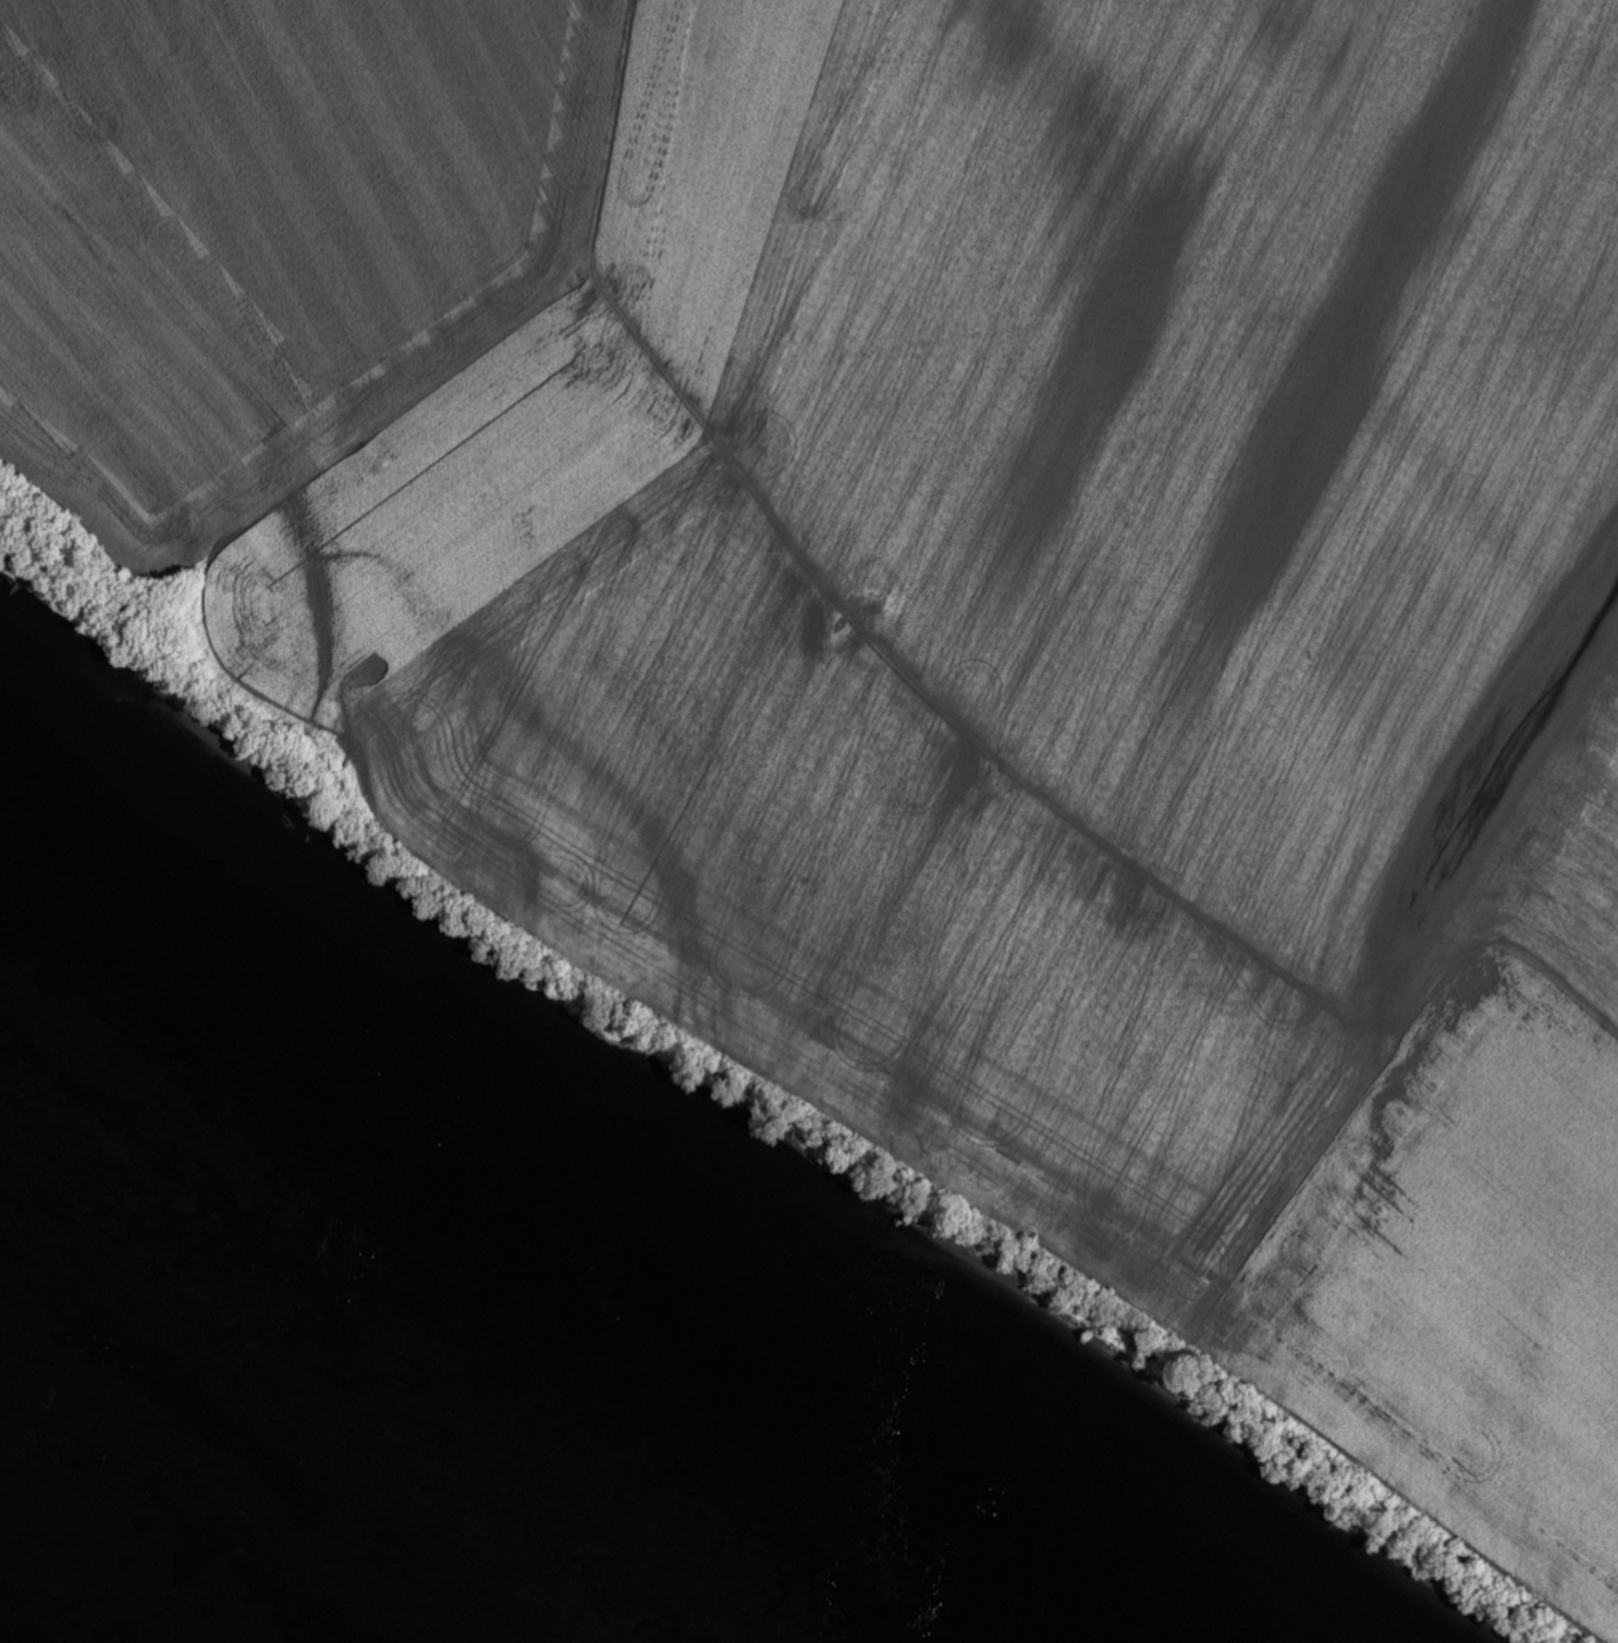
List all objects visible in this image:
river: (57, 1590)

